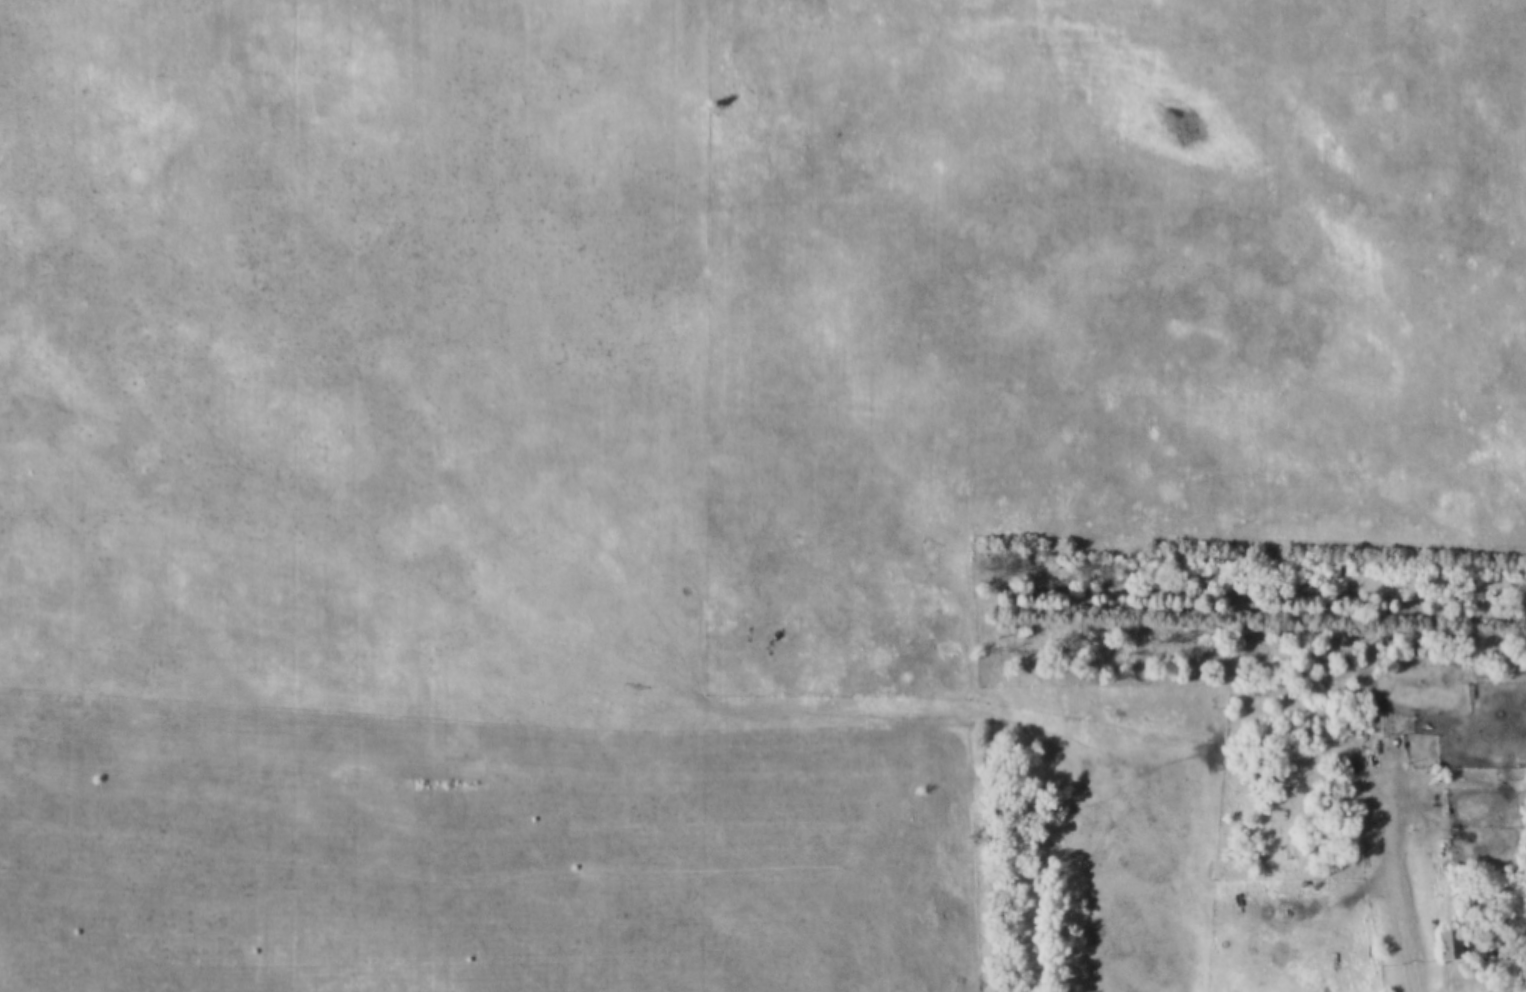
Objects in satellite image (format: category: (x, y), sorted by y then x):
building: (1394, 697)
building: (1300, 730)
road: (1390, 867)
building: (1447, 943)

